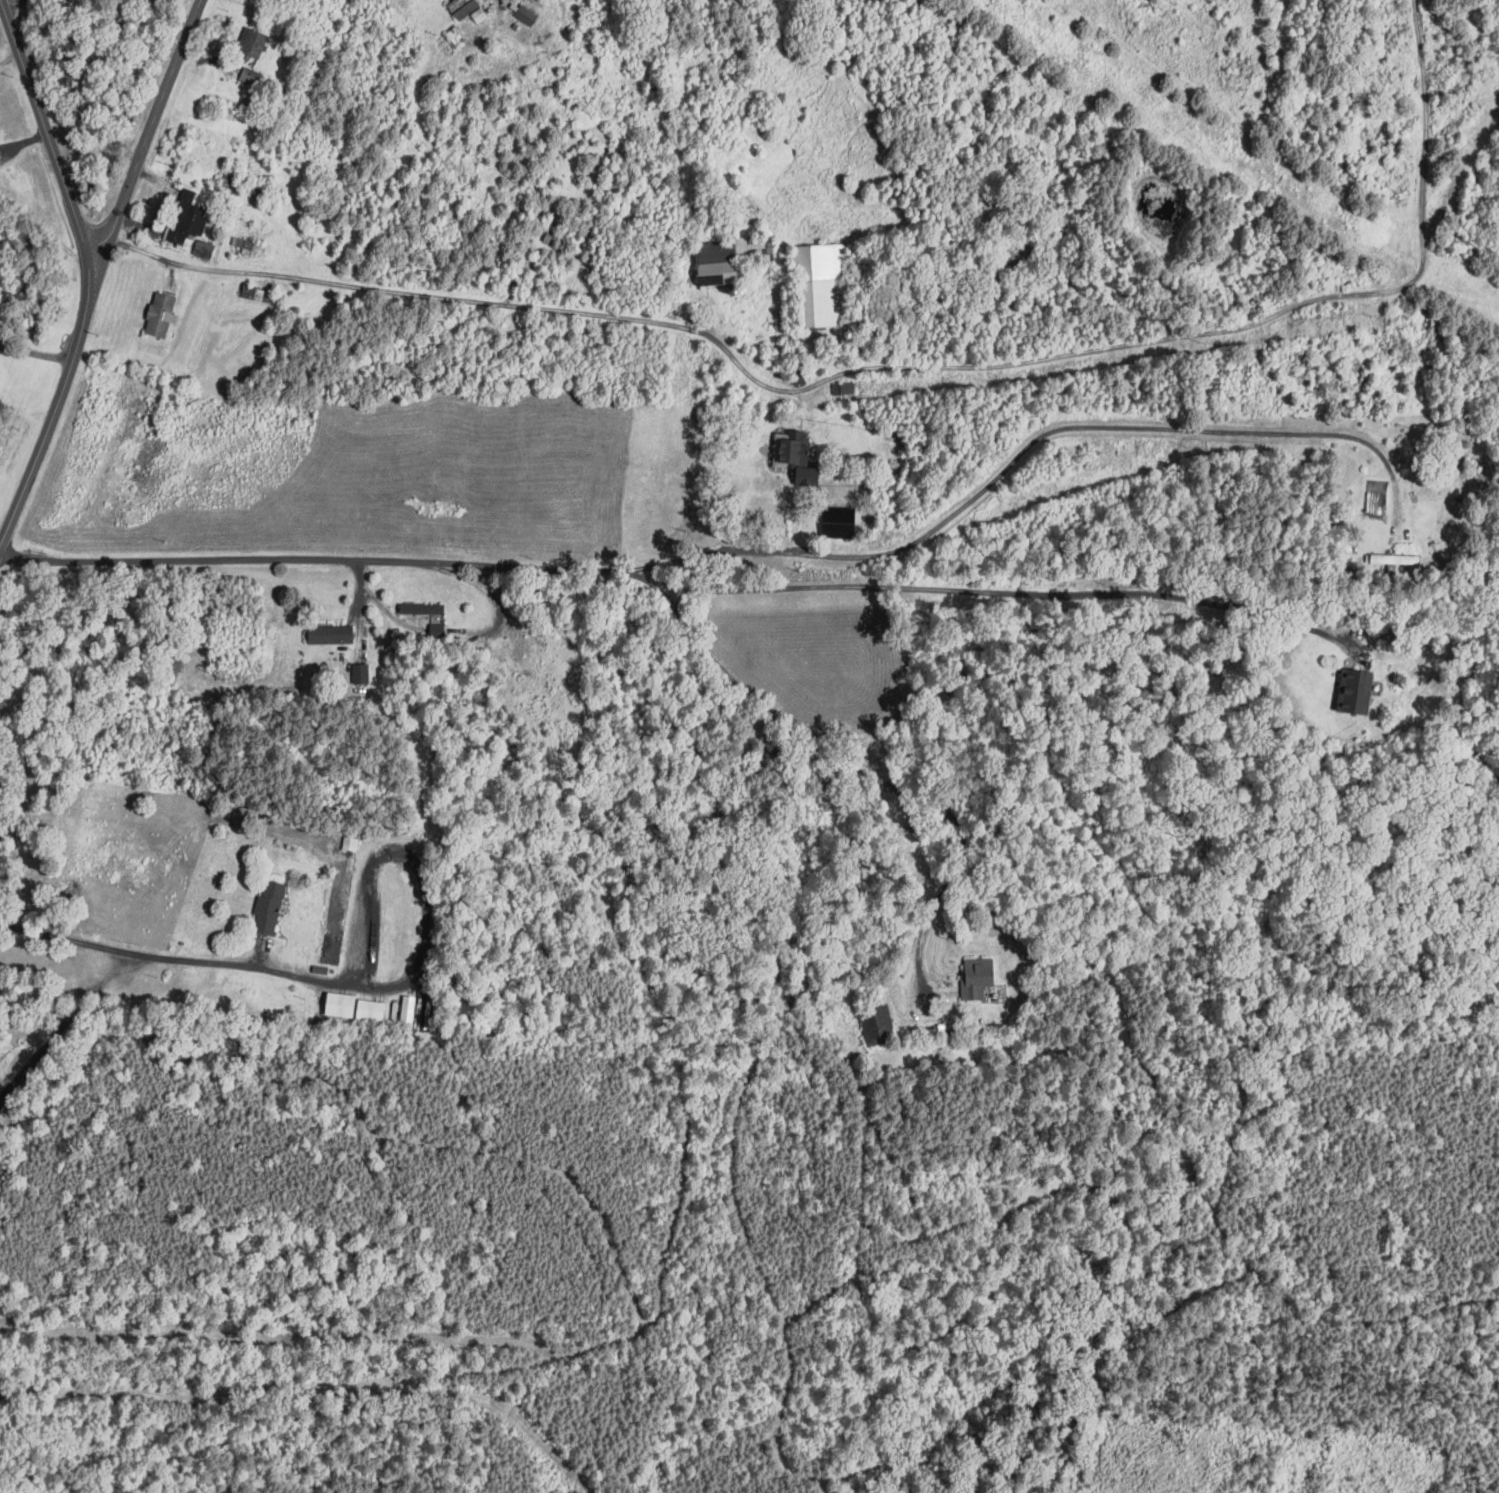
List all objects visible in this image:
building: (462, 7)
building: (526, 14)
building: (455, 35)
building: (251, 42)
building: (251, 76)
road: (46, 131)
road: (148, 133)
building: (186, 217)
building: (203, 248)
building: (715, 273)
building: (820, 285)
building: (252, 292)
building: (160, 314)
road: (36, 352)
road: (891, 366)
building: (844, 387)
road: (56, 408)
building: (798, 457)
road: (1010, 464)
building: (1400, 558)
road: (311, 560)
road: (362, 591)
road: (1011, 592)
building: (422, 608)
building: (436, 632)
road: (477, 633)
building: (330, 634)
building: (360, 673)
building: (1355, 691)
road: (853, 767)
road: (412, 870)
building: (268, 907)
road: (169, 956)
building: (978, 974)
building: (340, 1005)
building: (407, 1009)
building: (370, 1010)

